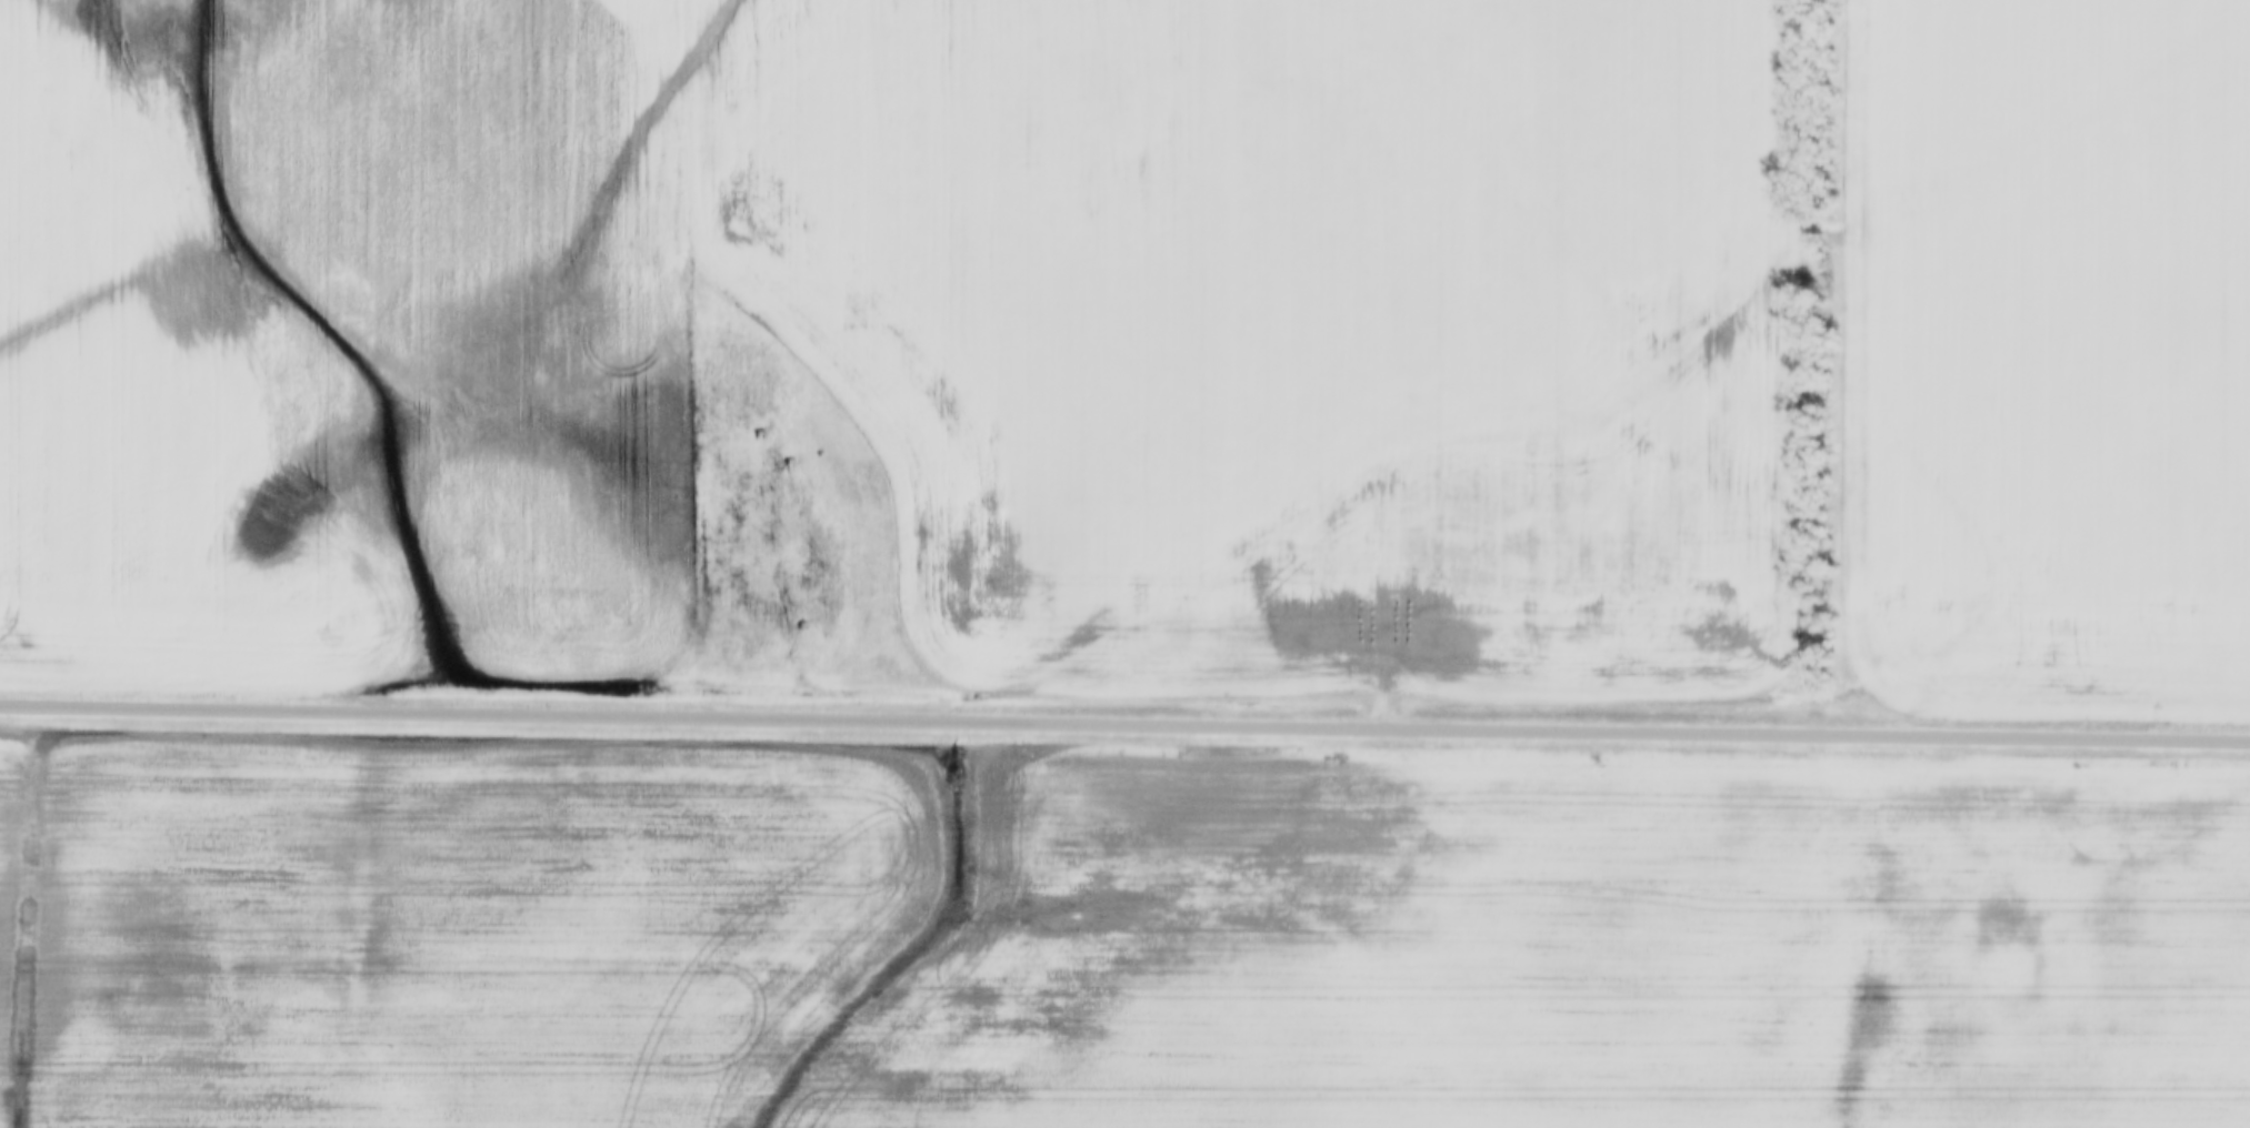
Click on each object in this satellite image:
road: (1124, 718)

